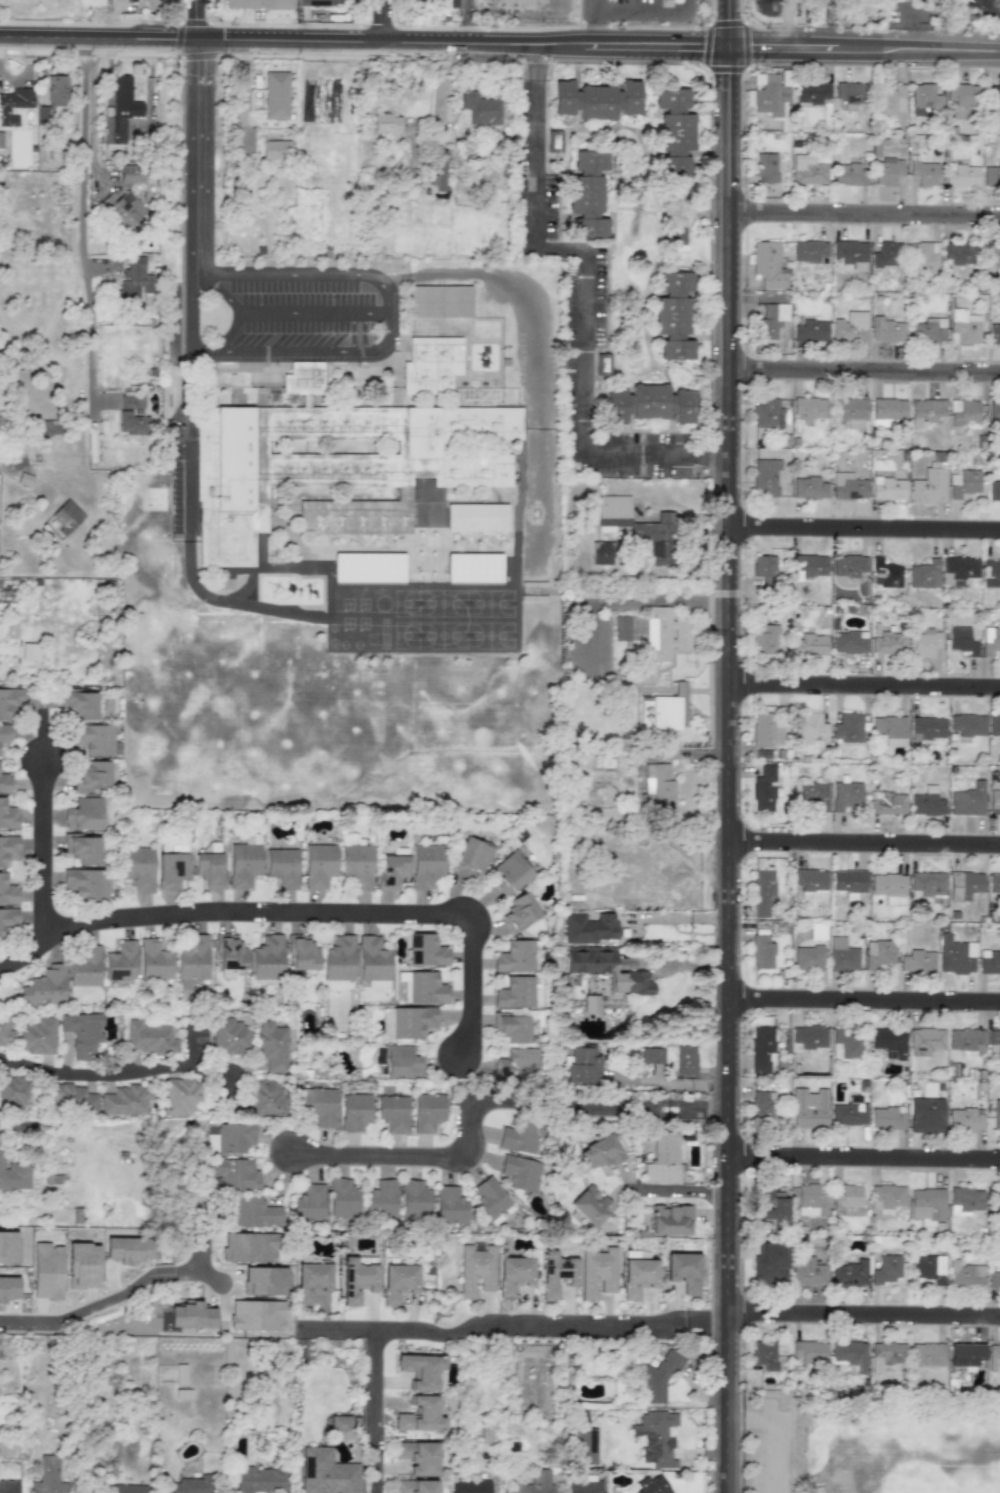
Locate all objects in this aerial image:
building: (326, 3)
building: (449, 3)
building: (258, 4)
road: (600, 4)
road: (691, 5)
road: (645, 9)
road: (199, 21)
road: (385, 22)
road: (468, 23)
road: (732, 25)
road: (365, 44)
road: (866, 51)
building: (811, 91)
building: (768, 94)
building: (849, 94)
building: (962, 94)
building: (276, 95)
building: (924, 96)
building: (53, 97)
building: (594, 100)
building: (889, 100)
building: (14, 105)
building: (482, 107)
building: (120, 110)
building: (398, 132)
building: (673, 132)
building: (277, 149)
building: (765, 167)
building: (808, 170)
building: (439, 171)
building: (887, 171)
building: (924, 172)
building: (136, 174)
building: (849, 174)
building: (962, 176)
building: (991, 176)
building: (587, 194)
road: (188, 202)
building: (122, 207)
road: (865, 213)
building: (677, 231)
road: (84, 249)
building: (809, 251)
building: (849, 251)
building: (886, 254)
building: (923, 254)
building: (958, 254)
building: (992, 255)
building: (767, 265)
building: (134, 284)
building: (439, 301)
road: (581, 304)
road: (314, 313)
building: (673, 316)
building: (770, 320)
road: (386, 325)
building: (850, 327)
building: (963, 327)
building: (887, 330)
building: (810, 331)
building: (928, 331)
building: (994, 334)
building: (431, 364)
road: (865, 373)
building: (303, 379)
building: (132, 400)
building: (649, 403)
building: (810, 407)
building: (994, 409)
building: (888, 411)
building: (925, 411)
building: (963, 412)
building: (850, 413)
building: (767, 414)
building: (1, 422)
building: (132, 423)
building: (48, 428)
road: (9, 466)
building: (333, 466)
building: (766, 476)
building: (963, 482)
building: (847, 486)
building: (928, 486)
building: (809, 487)
building: (888, 488)
building: (994, 490)
building: (612, 512)
building: (66, 517)
building: (476, 518)
road: (865, 527)
building: (653, 539)
building: (603, 553)
building: (764, 565)
building: (848, 565)
building: (368, 568)
building: (474, 568)
building: (960, 569)
building: (992, 571)
building: (885, 573)
building: (923, 574)
road: (633, 601)
road: (483, 619)
building: (621, 628)
building: (665, 634)
building: (767, 640)
building: (889, 640)
building: (961, 640)
building: (990, 640)
building: (848, 641)
building: (925, 643)
building: (809, 645)
building: (30, 651)
building: (644, 676)
road: (865, 686)
building: (10, 702)
building: (80, 704)
building: (664, 709)
building: (967, 724)
building: (810, 726)
building: (994, 726)
building: (848, 728)
building: (925, 728)
building: (889, 729)
building: (767, 730)
building: (5, 733)
building: (95, 739)
building: (761, 753)
road: (730, 771)
building: (93, 775)
building: (5, 783)
building: (656, 788)
building: (763, 788)
building: (813, 795)
building: (845, 795)
building: (967, 800)
building: (927, 802)
building: (994, 802)
building: (889, 803)
building: (86, 813)
building: (8, 816)
road: (865, 844)
building: (173, 848)
building: (8, 849)
building: (82, 849)
road: (44, 855)
building: (471, 857)
building: (244, 861)
building: (208, 865)
building: (319, 865)
building: (426, 865)
building: (357, 866)
building: (282, 867)
building: (138, 868)
building: (171, 870)
building: (510, 873)
building: (811, 882)
building: (994, 882)
building: (928, 883)
building: (964, 883)
building: (889, 887)
building: (7, 892)
building: (762, 892)
building: (519, 911)
road: (679, 914)
road: (302, 915)
building: (7, 919)
building: (589, 928)
building: (817, 931)
building: (424, 950)
building: (761, 951)
building: (230, 952)
building: (877, 953)
building: (842, 955)
building: (955, 955)
building: (515, 956)
building: (267, 957)
building: (808, 957)
building: (193, 959)
building: (339, 959)
building: (373, 959)
building: (590, 959)
building: (154, 961)
building: (918, 961)
building: (121, 962)
building: (989, 962)
building: (84, 973)
building: (637, 981)
building: (333, 985)
building: (44, 987)
building: (423, 987)
building: (515, 993)
road: (865, 1001)
building: (590, 1004)
building: (407, 1022)
building: (512, 1027)
building: (590, 1027)
building: (6, 1033)
building: (82, 1033)
building: (36, 1035)
building: (810, 1036)
building: (232, 1037)
building: (149, 1038)
building: (927, 1039)
building: (889, 1040)
building: (966, 1040)
building: (993, 1040)
road: (196, 1044)
building: (845, 1045)
building: (273, 1046)
building: (761, 1048)
building: (651, 1055)
building: (686, 1059)
building: (402, 1062)
building: (583, 1064)
building: (517, 1065)
road: (133, 1078)
building: (15, 1091)
building: (181, 1096)
building: (267, 1096)
building: (71, 1098)
building: (126, 1100)
road: (483, 1104)
building: (319, 1105)
building: (762, 1105)
building: (808, 1108)
building: (849, 1111)
building: (354, 1112)
building: (427, 1112)
building: (393, 1113)
building: (996, 1113)
building: (926, 1115)
building: (887, 1117)
building: (965, 1119)
road: (1, 1130)
building: (230, 1137)
building: (521, 1138)
building: (599, 1152)
road: (865, 1156)
building: (664, 1159)
building: (520, 1173)
building: (235, 1174)
building: (13, 1175)
road: (682, 1191)
building: (996, 1197)
building: (887, 1198)
building: (342, 1199)
building: (381, 1199)
building: (491, 1199)
building: (414, 1200)
building: (849, 1200)
building: (811, 1201)
building: (965, 1201)
building: (309, 1203)
building: (928, 1203)
building: (450, 1205)
building: (590, 1205)
building: (255, 1212)
building: (777, 1212)
building: (670, 1220)
building: (249, 1247)
building: (127, 1250)
building: (9, 1257)
building: (771, 1264)
building: (82, 1265)
building: (930, 1268)
building: (807, 1269)
building: (887, 1269)
building: (476, 1270)
building: (46, 1271)
building: (683, 1271)
building: (597, 1272)
building: (555, 1273)
building: (850, 1273)
building: (513, 1274)
building: (637, 1277)
building: (966, 1277)
building: (995, 1278)
building: (356, 1279)
building: (264, 1281)
building: (311, 1281)
building: (397, 1282)
building: (8, 1287)
road: (110, 1296)
road: (864, 1313)
building: (256, 1314)
building: (191, 1315)
road: (705, 1323)
road: (487, 1324)
building: (811, 1352)
building: (888, 1352)
building: (851, 1354)
building: (927, 1354)
building: (966, 1354)
building: (764, 1355)
building: (994, 1355)
building: (421, 1370)
building: (659, 1375)
road: (372, 1412)
building: (420, 1415)
building: (655, 1437)
park: (869, 1441)
building: (586, 1445)
road: (765, 1447)
building: (419, 1457)
building: (326, 1472)
building: (49, 1477)
building: (259, 1479)
building: (533, 1483)
building: (189, 1485)
building: (585, 1485)
building: (652, 1485)
building: (9, 1486)
building: (416, 1486)
building: (470, 1486)
building: (127, 1488)

